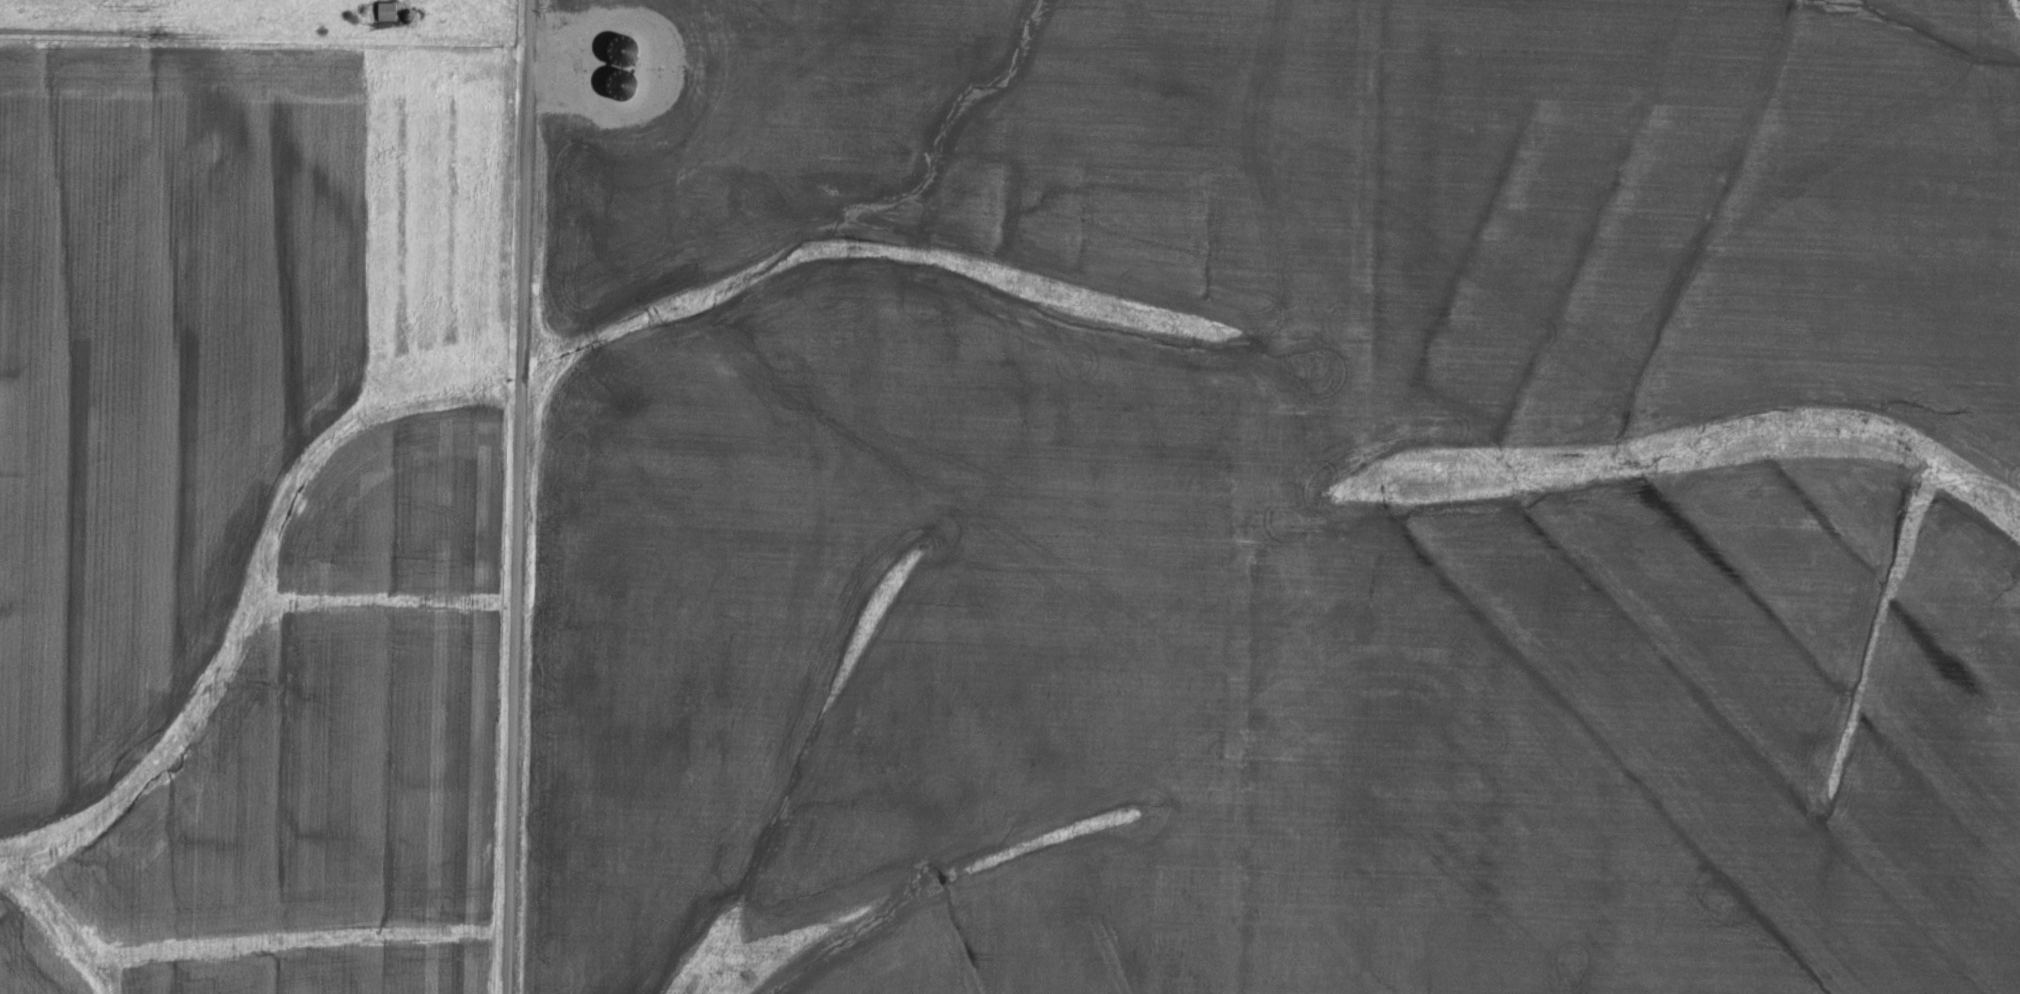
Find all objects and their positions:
building: (387, 11)
road: (508, 497)
crop: (1276, 498)
crop: (231, 550)

